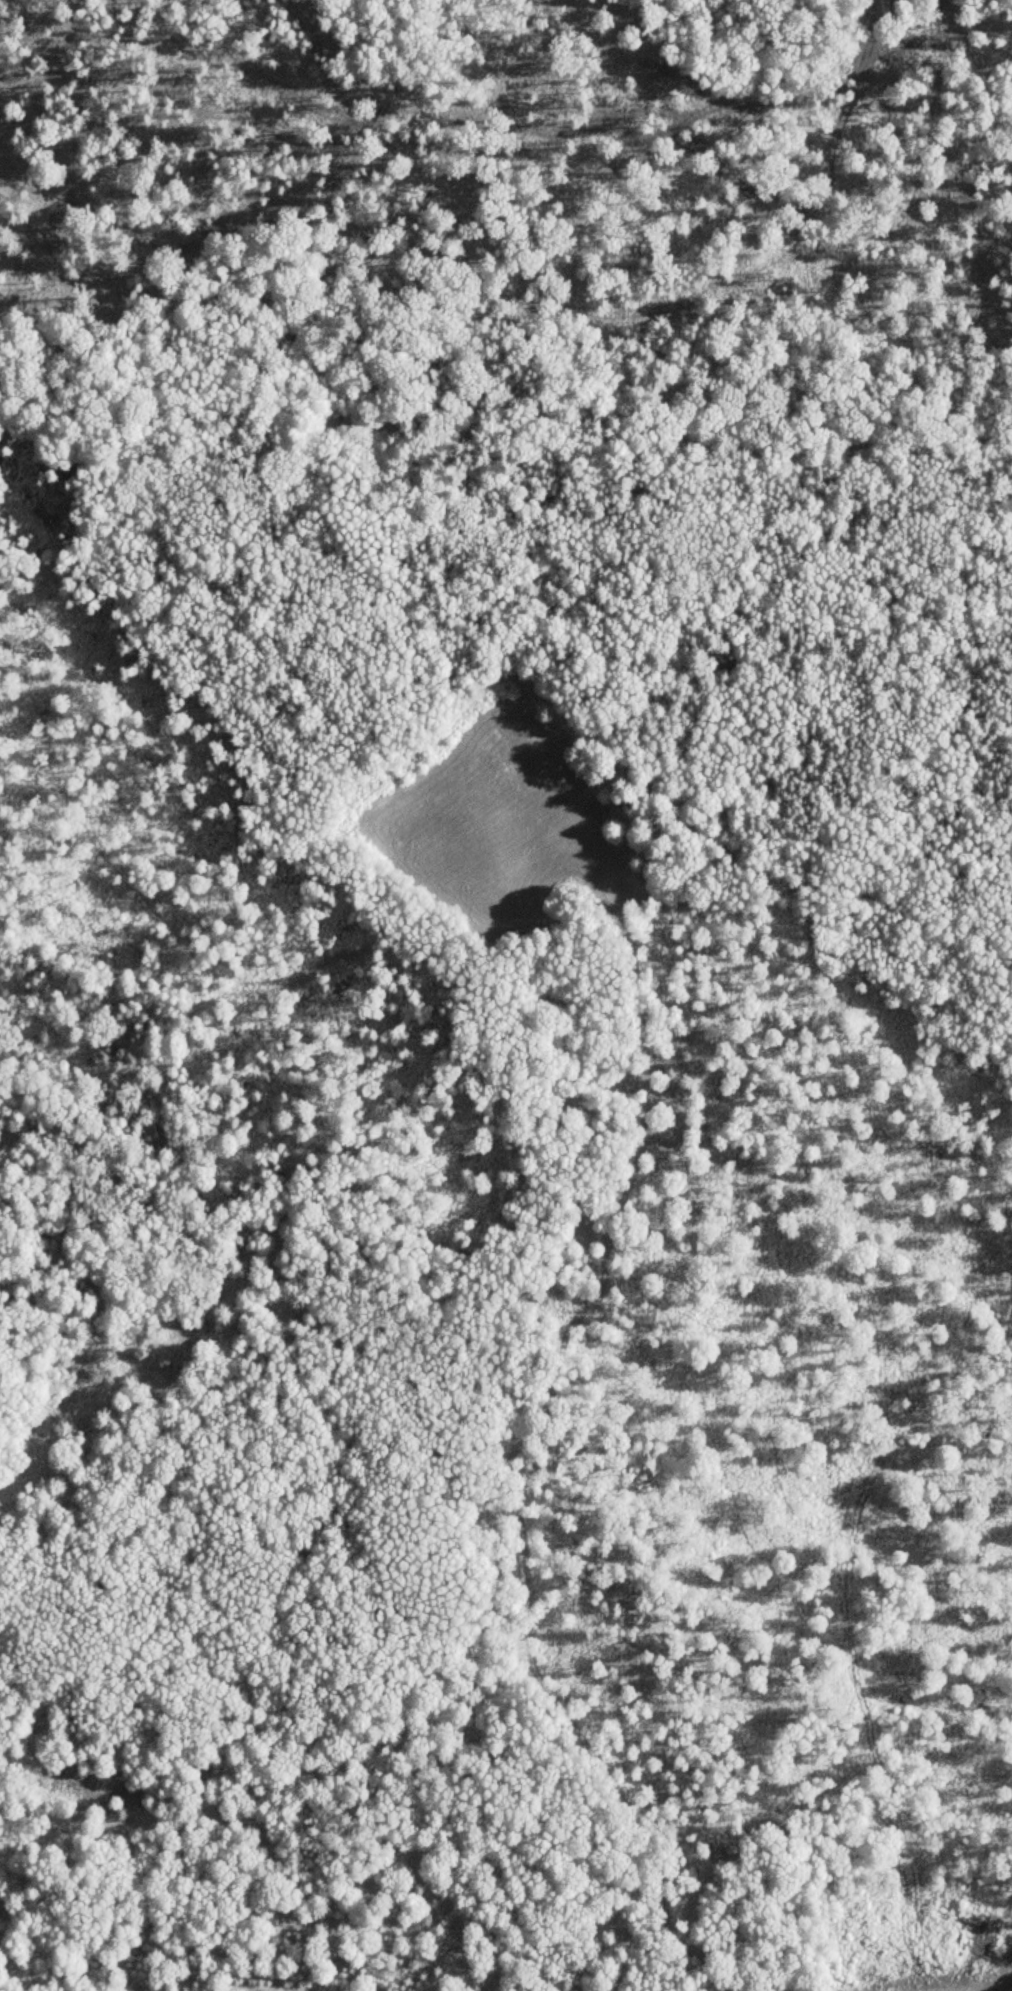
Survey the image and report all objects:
road: (504, 410)
road: (842, 440)
road: (604, 1265)
road: (956, 1987)

